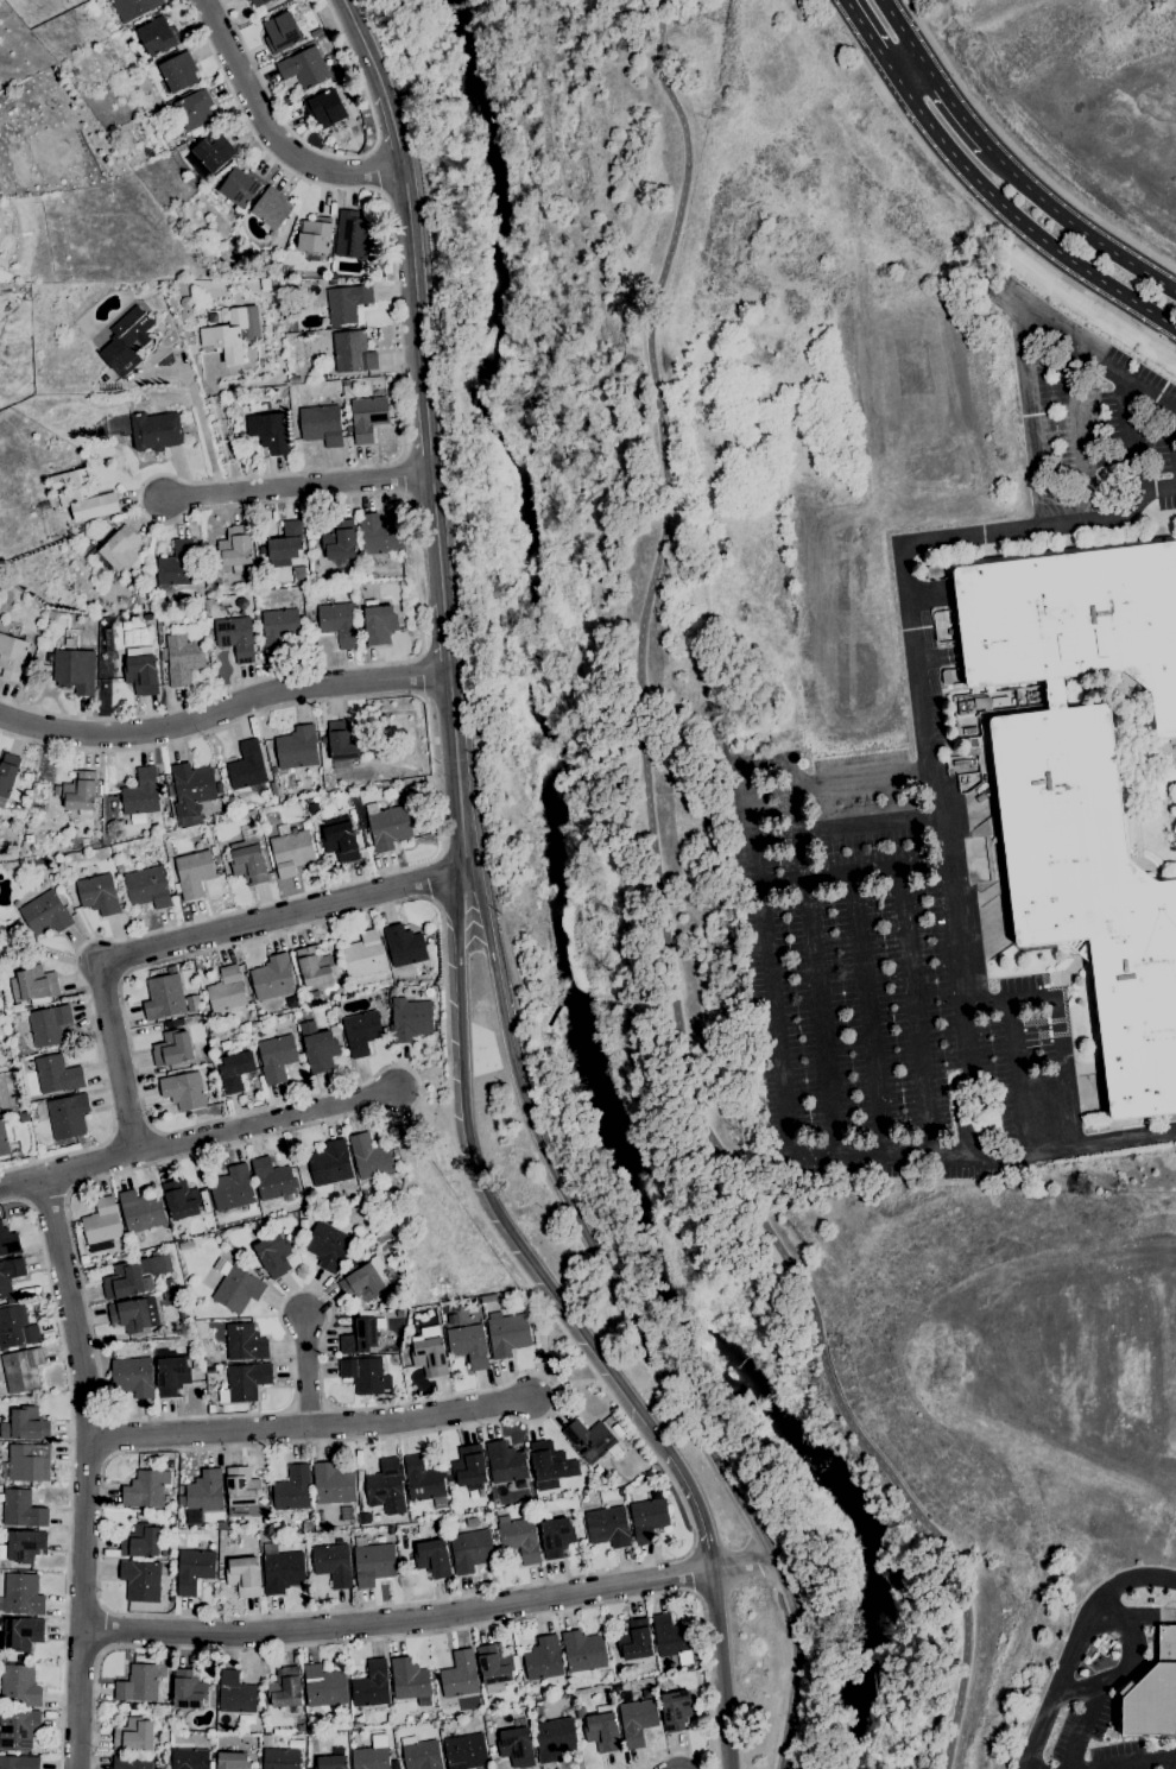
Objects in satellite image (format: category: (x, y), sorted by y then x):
building: (247, 0)
building: (274, 0)
building: (259, 2)
building: (132, 7)
road: (902, 31)
building: (282, 32)
building: (316, 32)
building: (158, 36)
road: (358, 37)
road: (872, 39)
building: (304, 68)
building: (178, 71)
road: (911, 71)
road: (955, 105)
building: (162, 108)
building: (194, 108)
building: (325, 108)
road: (390, 116)
road: (271, 129)
building: (213, 151)
road: (1020, 153)
road: (334, 154)
road: (375, 169)
building: (240, 185)
building: (271, 208)
building: (235, 213)
road: (1020, 221)
road: (1077, 223)
road: (1006, 232)
building: (315, 235)
building: (352, 235)
building: (333, 274)
road: (413, 280)
building: (347, 303)
road: (647, 318)
building: (227, 334)
building: (127, 340)
road: (1087, 349)
building: (353, 352)
road: (181, 365)
road: (238, 369)
building: (293, 379)
road: (258, 383)
road: (198, 411)
parking lot: (1105, 415)
road: (219, 417)
building: (367, 417)
road: (1038, 418)
building: (321, 424)
building: (348, 429)
road: (1172, 429)
building: (154, 430)
building: (270, 431)
road: (1083, 431)
road: (1133, 434)
road: (426, 437)
road: (293, 485)
building: (82, 495)
road: (143, 512)
building: (86, 535)
building: (379, 535)
road: (435, 537)
building: (340, 541)
building: (285, 543)
building: (236, 549)
building: (214, 551)
building: (116, 554)
building: (380, 562)
building: (176, 567)
building: (146, 617)
building: (1074, 619)
building: (339, 623)
building: (379, 623)
building: (279, 630)
building: (235, 637)
road: (443, 637)
building: (118, 649)
building: (12, 657)
building: (182, 658)
building: (74, 670)
building: (141, 674)
road: (419, 674)
building: (947, 677)
building: (1055, 694)
building: (988, 702)
road: (222, 707)
road: (922, 707)
building: (381, 719)
building: (969, 731)
building: (343, 741)
building: (973, 741)
building: (297, 747)
building: (960, 763)
building: (247, 766)
road: (456, 769)
building: (7, 776)
building: (27, 776)
building: (191, 788)
building: (219, 788)
building: (272, 789)
building: (56, 790)
building: (80, 790)
building: (141, 792)
building: (418, 826)
building: (388, 827)
road: (843, 829)
building: (208, 839)
building: (340, 839)
building: (317, 849)
building: (213, 851)
building: (291, 851)
building: (995, 860)
building: (248, 864)
road: (871, 866)
building: (119, 868)
road: (398, 868)
building: (192, 872)
road: (434, 882)
building: (147, 887)
building: (1090, 892)
building: (97, 893)
building: (45, 914)
river: (562, 924)
building: (2, 928)
road: (192, 941)
building: (430, 942)
building: (404, 946)
building: (363, 955)
building: (314, 966)
road: (811, 968)
building: (272, 978)
parking lot: (877, 983)
building: (33, 985)
building: (227, 990)
building: (164, 996)
building: (312, 997)
road: (913, 1009)
road: (867, 1011)
building: (410, 1019)
building: (177, 1022)
road: (1056, 1023)
building: (48, 1024)
building: (361, 1031)
building: (225, 1044)
building: (320, 1045)
building: (172, 1048)
building: (216, 1051)
building: (276, 1057)
building: (235, 1069)
road: (778, 1070)
building: (57, 1074)
road: (1019, 1074)
building: (183, 1089)
road: (423, 1089)
building: (68, 1116)
road: (214, 1136)
building: (2, 1139)
building: (27, 1143)
building: (394, 1152)
building: (369, 1156)
road: (760, 1162)
building: (330, 1163)
building: (272, 1179)
road: (20, 1183)
building: (232, 1188)
road: (480, 1188)
building: (181, 1199)
building: (204, 1201)
building: (141, 1211)
road: (765, 1222)
building: (101, 1225)
building: (8, 1242)
building: (185, 1244)
building: (327, 1246)
building: (273, 1253)
building: (10, 1275)
building: (134, 1276)
building: (365, 1281)
building: (235, 1287)
building: (166, 1296)
building: (487, 1297)
road: (538, 1297)
building: (181, 1304)
building: (191, 1304)
building: (134, 1314)
road: (637, 1320)
building: (15, 1326)
building: (507, 1333)
building: (361, 1335)
building: (245, 1342)
building: (468, 1345)
building: (162, 1352)
building: (429, 1353)
building: (21, 1369)
road: (304, 1369)
building: (365, 1375)
building: (171, 1376)
building: (133, 1377)
road: (567, 1381)
building: (245, 1382)
building: (213, 1396)
building: (210, 1408)
building: (26, 1424)
road: (309, 1424)
building: (592, 1441)
building: (505, 1461)
building: (550, 1461)
building: (29, 1462)
building: (167, 1464)
building: (468, 1467)
road: (68, 1470)
road: (87, 1472)
building: (601, 1479)
building: (423, 1481)
building: (333, 1484)
building: (241, 1486)
building: (386, 1486)
building: (146, 1489)
building: (292, 1489)
building: (204, 1492)
road: (696, 1506)
building: (21, 1509)
building: (647, 1518)
building: (221, 1525)
building: (607, 1527)
building: (556, 1537)
building: (520, 1539)
building: (140, 1541)
building: (25, 1546)
building: (468, 1548)
building: (432, 1558)
building: (333, 1563)
building: (373, 1563)
building: (220, 1568)
building: (194, 1569)
building: (283, 1572)
road: (690, 1572)
building: (244, 1575)
building: (140, 1580)
building: (23, 1594)
building: (1149, 1600)
road: (429, 1613)
building: (21, 1632)
road: (429, 1632)
building: (670, 1636)
building: (634, 1641)
road: (1077, 1647)
building: (583, 1653)
building: (543, 1659)
building: (495, 1666)
road: (722, 1667)
road: (1131, 1668)
building: (460, 1674)
building: (409, 1681)
building: (138, 1683)
building: (371, 1685)
building: (19, 1686)
building: (323, 1686)
building: (285, 1687)
building: (188, 1689)
building: (235, 1693)
building: (1153, 1693)
parking lot: (1094, 1695)
building: (702, 1702)
building: (132, 1707)
building: (676, 1710)
building: (580, 1712)
building: (637, 1721)
road: (1085, 1727)
building: (18, 1729)
building: (301, 1729)
building: (602, 1730)
building: (133, 1736)
building: (554, 1738)
building: (266, 1740)
building: (516, 1746)
building: (466, 1751)
building: (421, 1754)
road: (668, 1755)
building: (189, 1758)
building: (280, 1758)
building: (369, 1758)
building: (232, 1761)
building: (19, 1762)
building: (132, 1762)
building: (331, 1762)
road: (1147, 1764)
building: (396, 1765)

